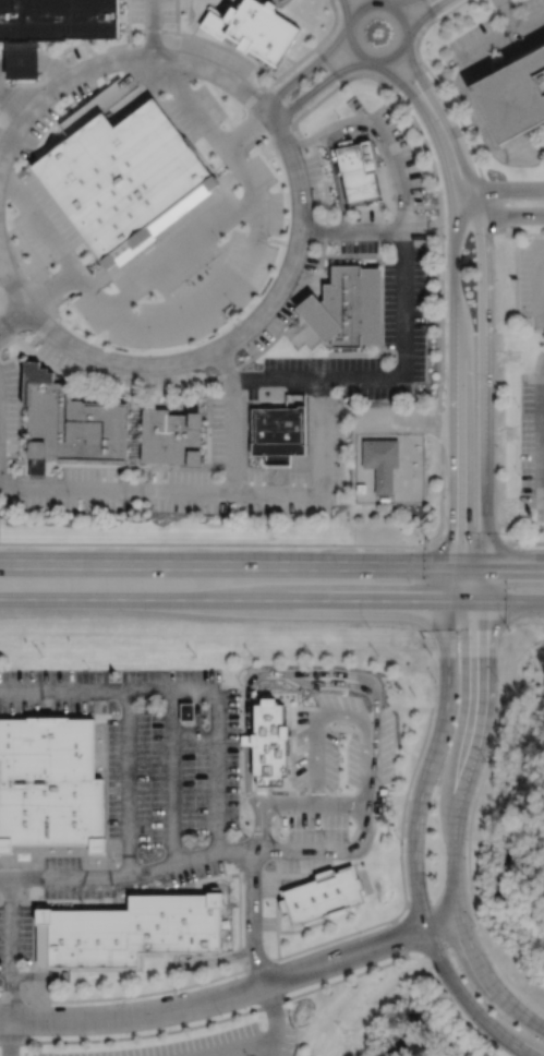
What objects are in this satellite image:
road: (380, 1)
road: (397, 1)
road: (364, 5)
road: (346, 9)
road: (399, 12)
road: (507, 13)
road: (425, 14)
road: (126, 15)
road: (176, 16)
building: (58, 19)
road: (349, 24)
road: (152, 29)
building: (251, 31)
road: (505, 31)
road: (173, 32)
parking lot: (501, 32)
road: (408, 35)
road: (351, 47)
building: (21, 58)
road: (395, 58)
road: (37, 61)
road: (371, 62)
road: (328, 64)
road: (306, 71)
road: (415, 75)
road: (220, 77)
road: (409, 79)
road: (438, 84)
road: (403, 85)
road: (316, 88)
road: (57, 91)
building: (516, 98)
road: (282, 100)
road: (500, 101)
road: (15, 105)
road: (491, 113)
road: (477, 115)
road: (246, 131)
road: (450, 145)
road: (536, 148)
road: (331, 157)
road: (433, 167)
building: (356, 169)
building: (123, 177)
road: (333, 177)
road: (503, 189)
road: (376, 205)
parking lot: (300, 213)
road: (500, 215)
road: (353, 229)
road: (255, 236)
road: (276, 240)
road: (51, 242)
road: (297, 248)
road: (211, 265)
road: (117, 268)
road: (156, 271)
road: (539, 277)
road: (9, 278)
parking lot: (532, 280)
road: (82, 281)
road: (406, 286)
road: (50, 289)
road: (57, 300)
road: (208, 305)
building: (344, 307)
road: (11, 309)
road: (16, 327)
road: (12, 332)
road: (43, 332)
road: (237, 339)
road: (8, 343)
road: (262, 349)
road: (485, 374)
road: (459, 377)
road: (73, 379)
parking lot: (291, 383)
road: (135, 393)
parking lot: (8, 410)
road: (232, 420)
building: (74, 424)
road: (543, 430)
building: (278, 434)
building: (171, 437)
parking lot: (532, 443)
building: (36, 458)
building: (380, 461)
building: (360, 489)
road: (218, 491)
road: (7, 503)
road: (527, 542)
road: (257, 543)
road: (271, 566)
traffic signals: (456, 566)
traffic signals: (486, 566)
road: (271, 599)
traffic signals: (450, 601)
traffic signals: (486, 602)
road: (326, 675)
street lamp: (498, 680)
street lamp: (435, 681)
road: (247, 687)
road: (189, 689)
road: (47, 707)
road: (291, 709)
building: (185, 710)
road: (177, 712)
road: (196, 712)
road: (342, 715)
road: (318, 717)
road: (374, 719)
road: (341, 729)
road: (192, 736)
building: (268, 742)
parking lot: (149, 743)
street lamp: (485, 760)
road: (291, 775)
road: (170, 777)
building: (49, 781)
road: (129, 782)
road: (105, 796)
road: (271, 803)
road: (457, 811)
road: (364, 816)
road: (275, 826)
road: (414, 829)
street lamp: (401, 842)
road: (274, 849)
road: (33, 856)
road: (191, 857)
road: (467, 865)
road: (251, 874)
road: (268, 874)
road: (33, 877)
parking lot: (84, 890)
road: (33, 891)
building: (318, 896)
road: (0, 897)
road: (10, 897)
road: (28, 897)
road: (95, 901)
road: (276, 908)
street lamp: (474, 924)
building: (131, 928)
street lamp: (359, 933)
road: (397, 938)
road: (323, 941)
road: (8, 949)
road: (234, 992)
road: (276, 1001)
road: (274, 1019)
road: (8, 1037)
parking lot: (213, 1044)
road: (237, 1046)

